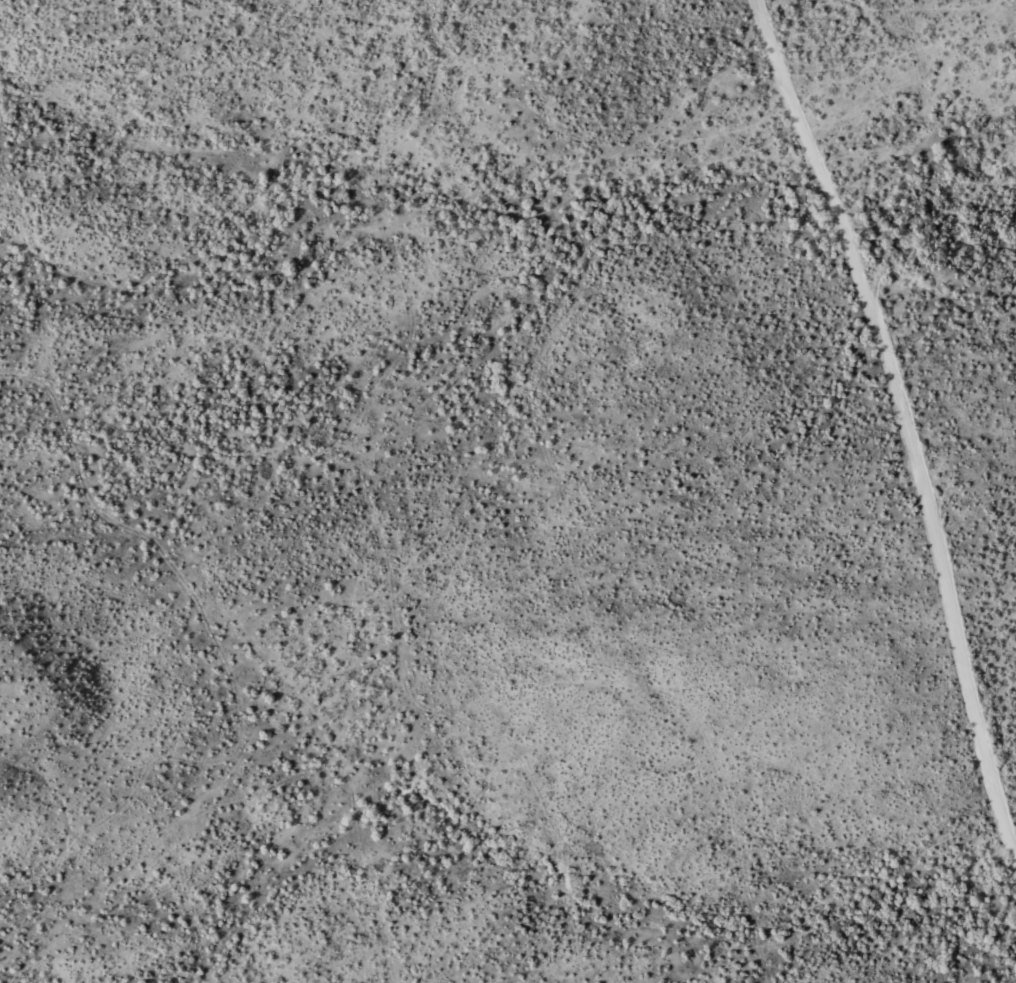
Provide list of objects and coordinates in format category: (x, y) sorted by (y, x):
road: (881, 391)

